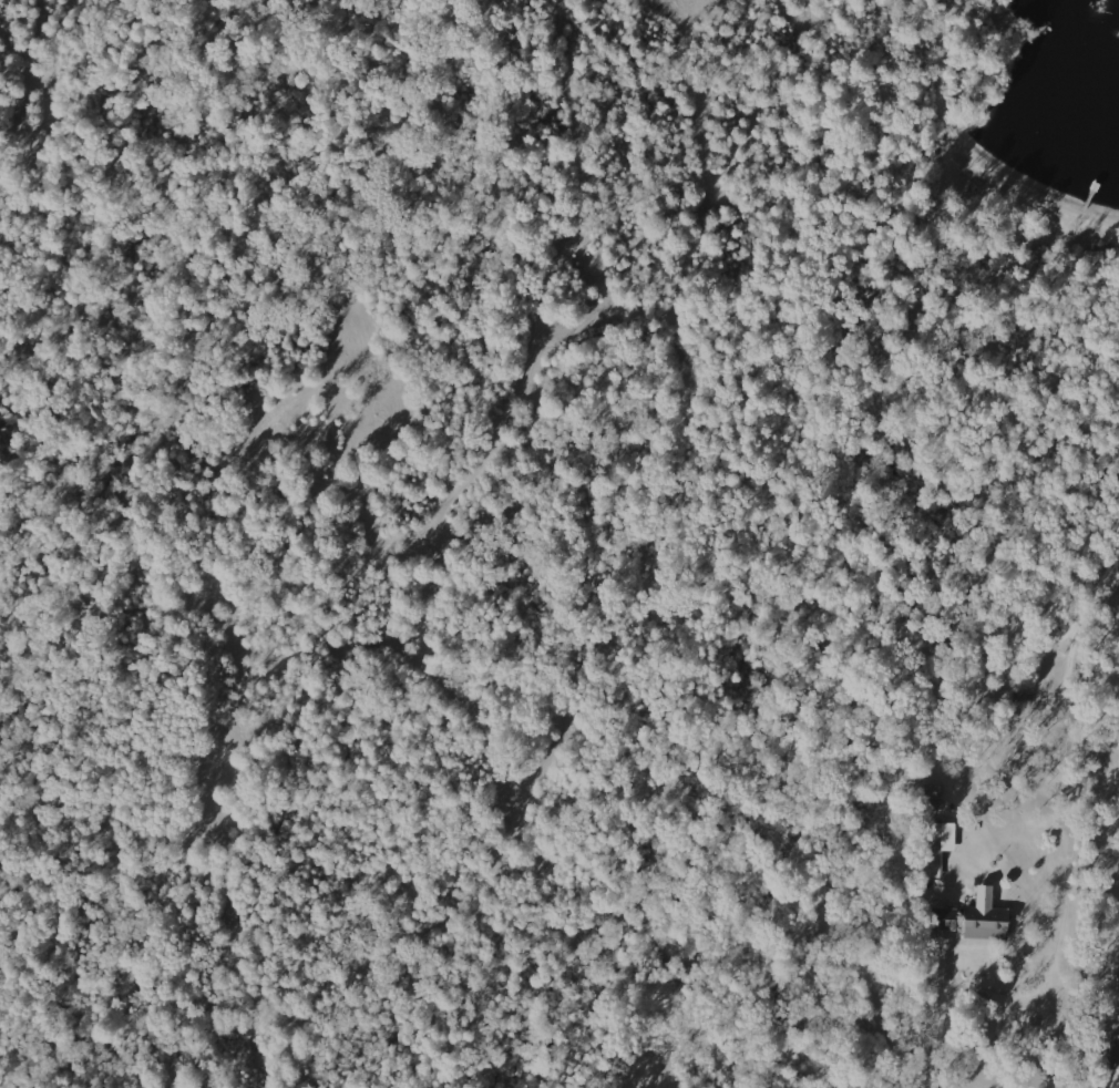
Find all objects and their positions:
building: (938, 845)
building: (984, 916)
building: (942, 917)
building: (1113, 1014)
building: (1113, 1051)

